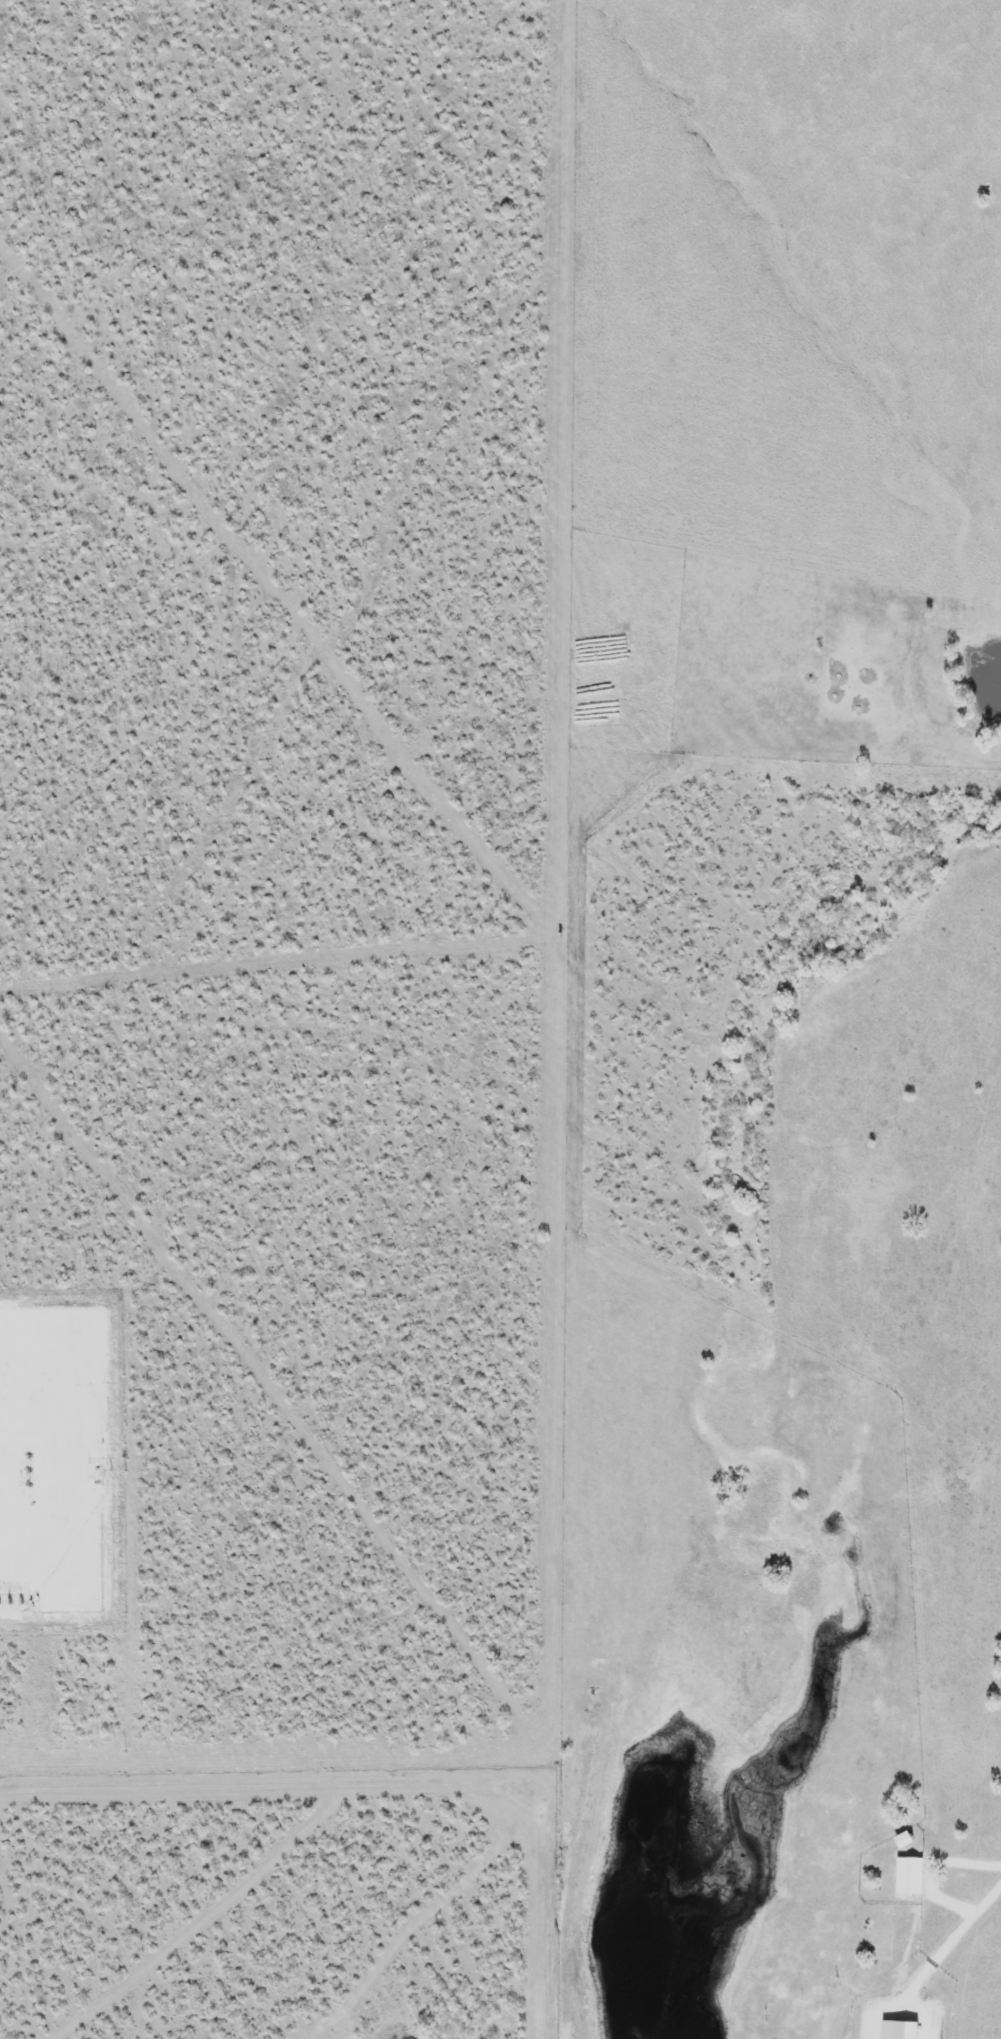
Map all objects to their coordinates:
building: (903, 1839)
building: (909, 1874)
building: (900, 2029)

